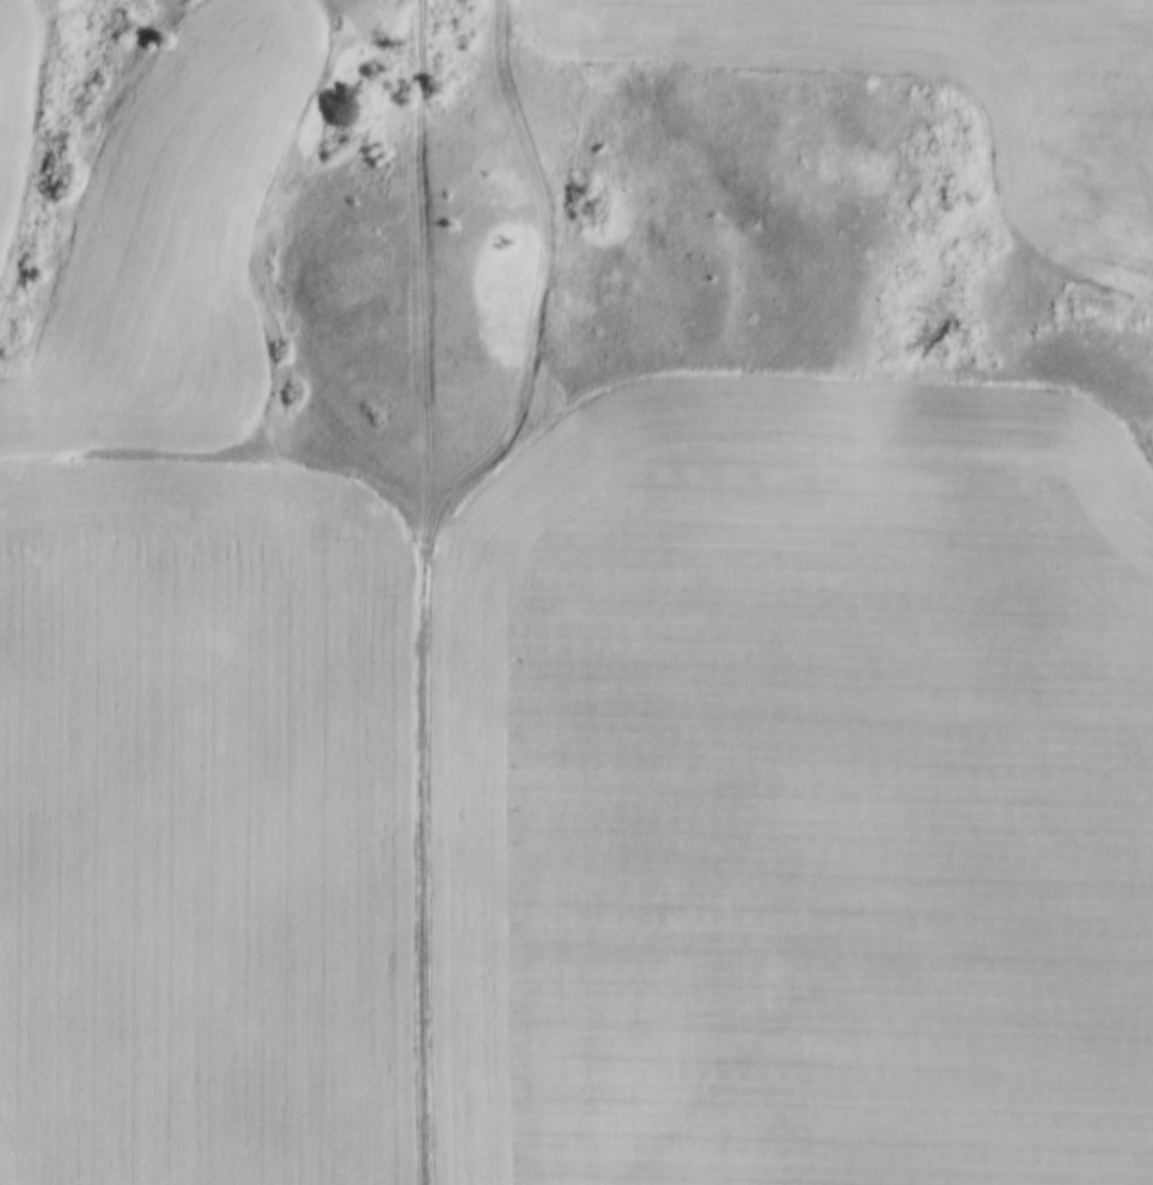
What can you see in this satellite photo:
road: (222, 454)
road: (422, 566)

